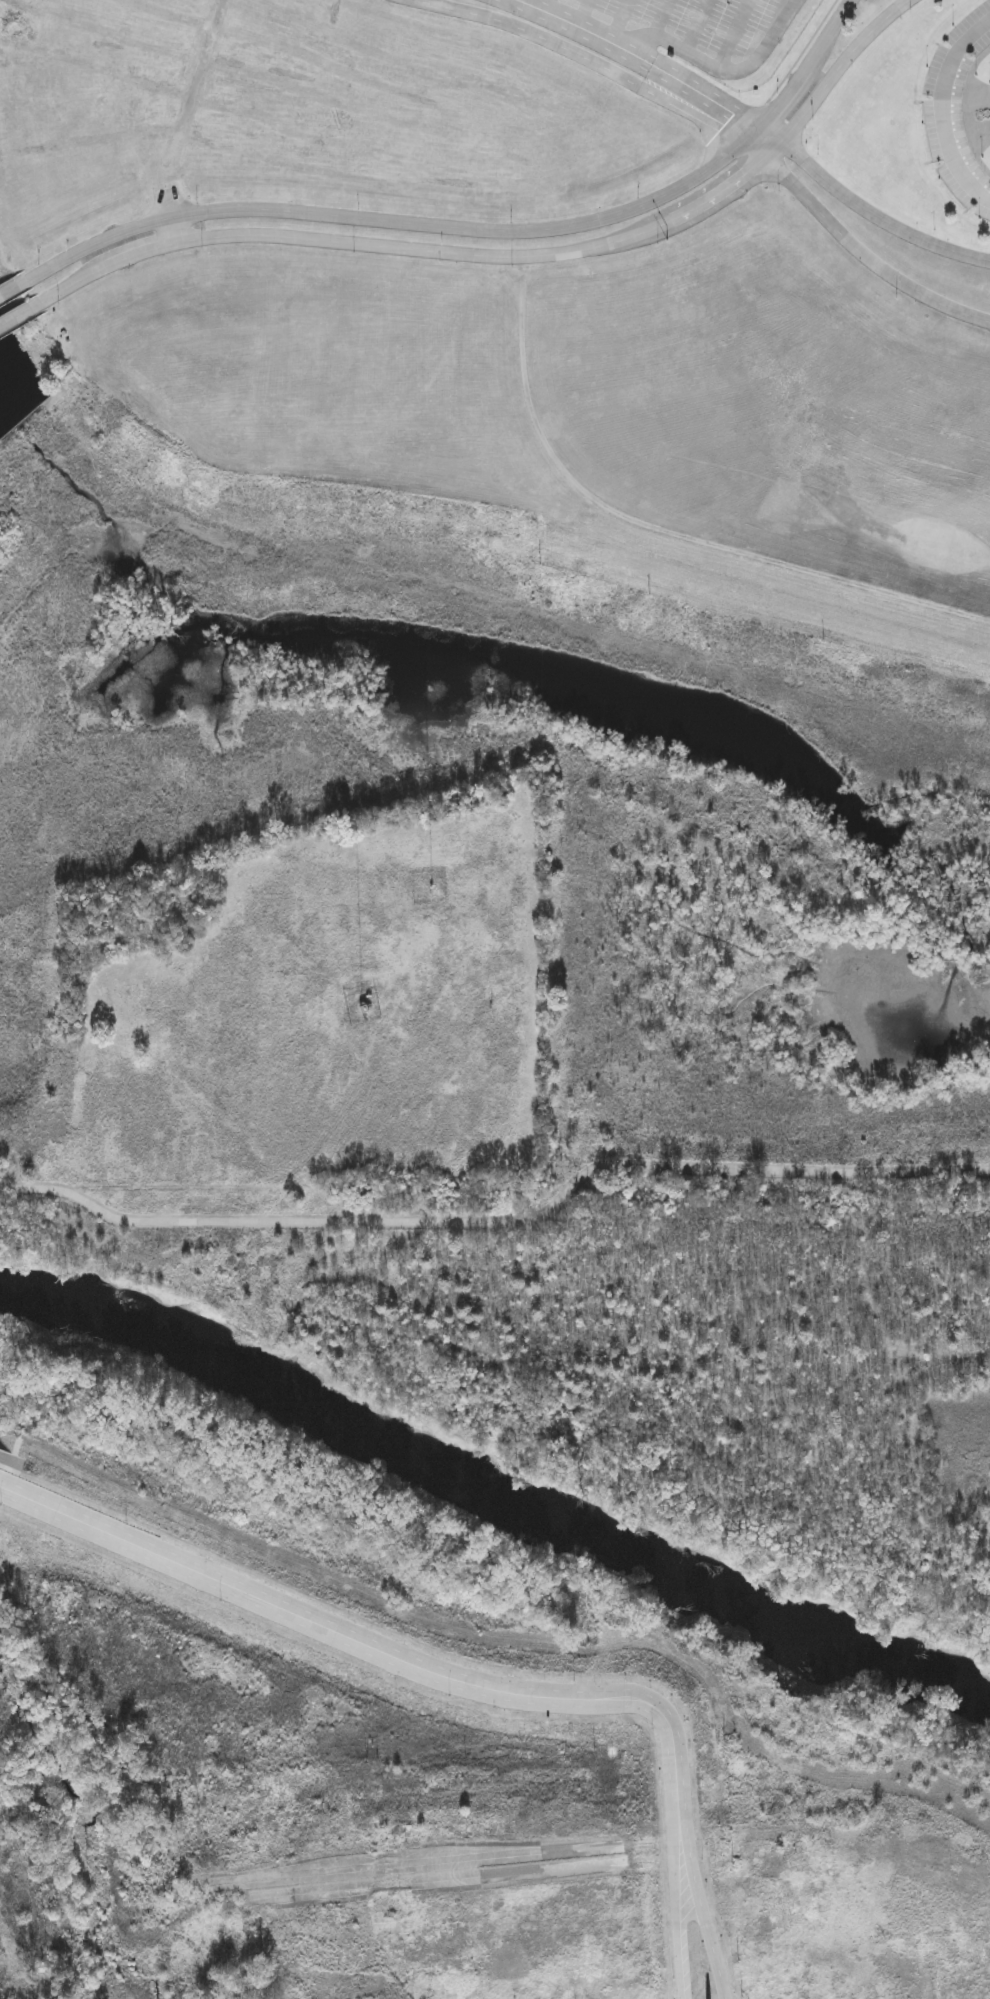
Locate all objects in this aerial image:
road: (546, 6)
road: (584, 13)
road: (783, 18)
road: (662, 19)
parking lot: (694, 20)
road: (619, 21)
parking lot: (968, 22)
road: (697, 26)
road: (734, 35)
parking lot: (981, 44)
road: (803, 52)
road: (641, 58)
road: (587, 59)
road: (844, 67)
road: (719, 71)
road: (946, 108)
parking lot: (955, 130)
road: (866, 210)
road: (482, 228)
road: (856, 245)
road: (422, 248)
road: (17, 286)
road: (23, 314)
road: (501, 1221)
river: (497, 1487)
road: (384, 1652)
road: (684, 1918)
road: (704, 1918)

